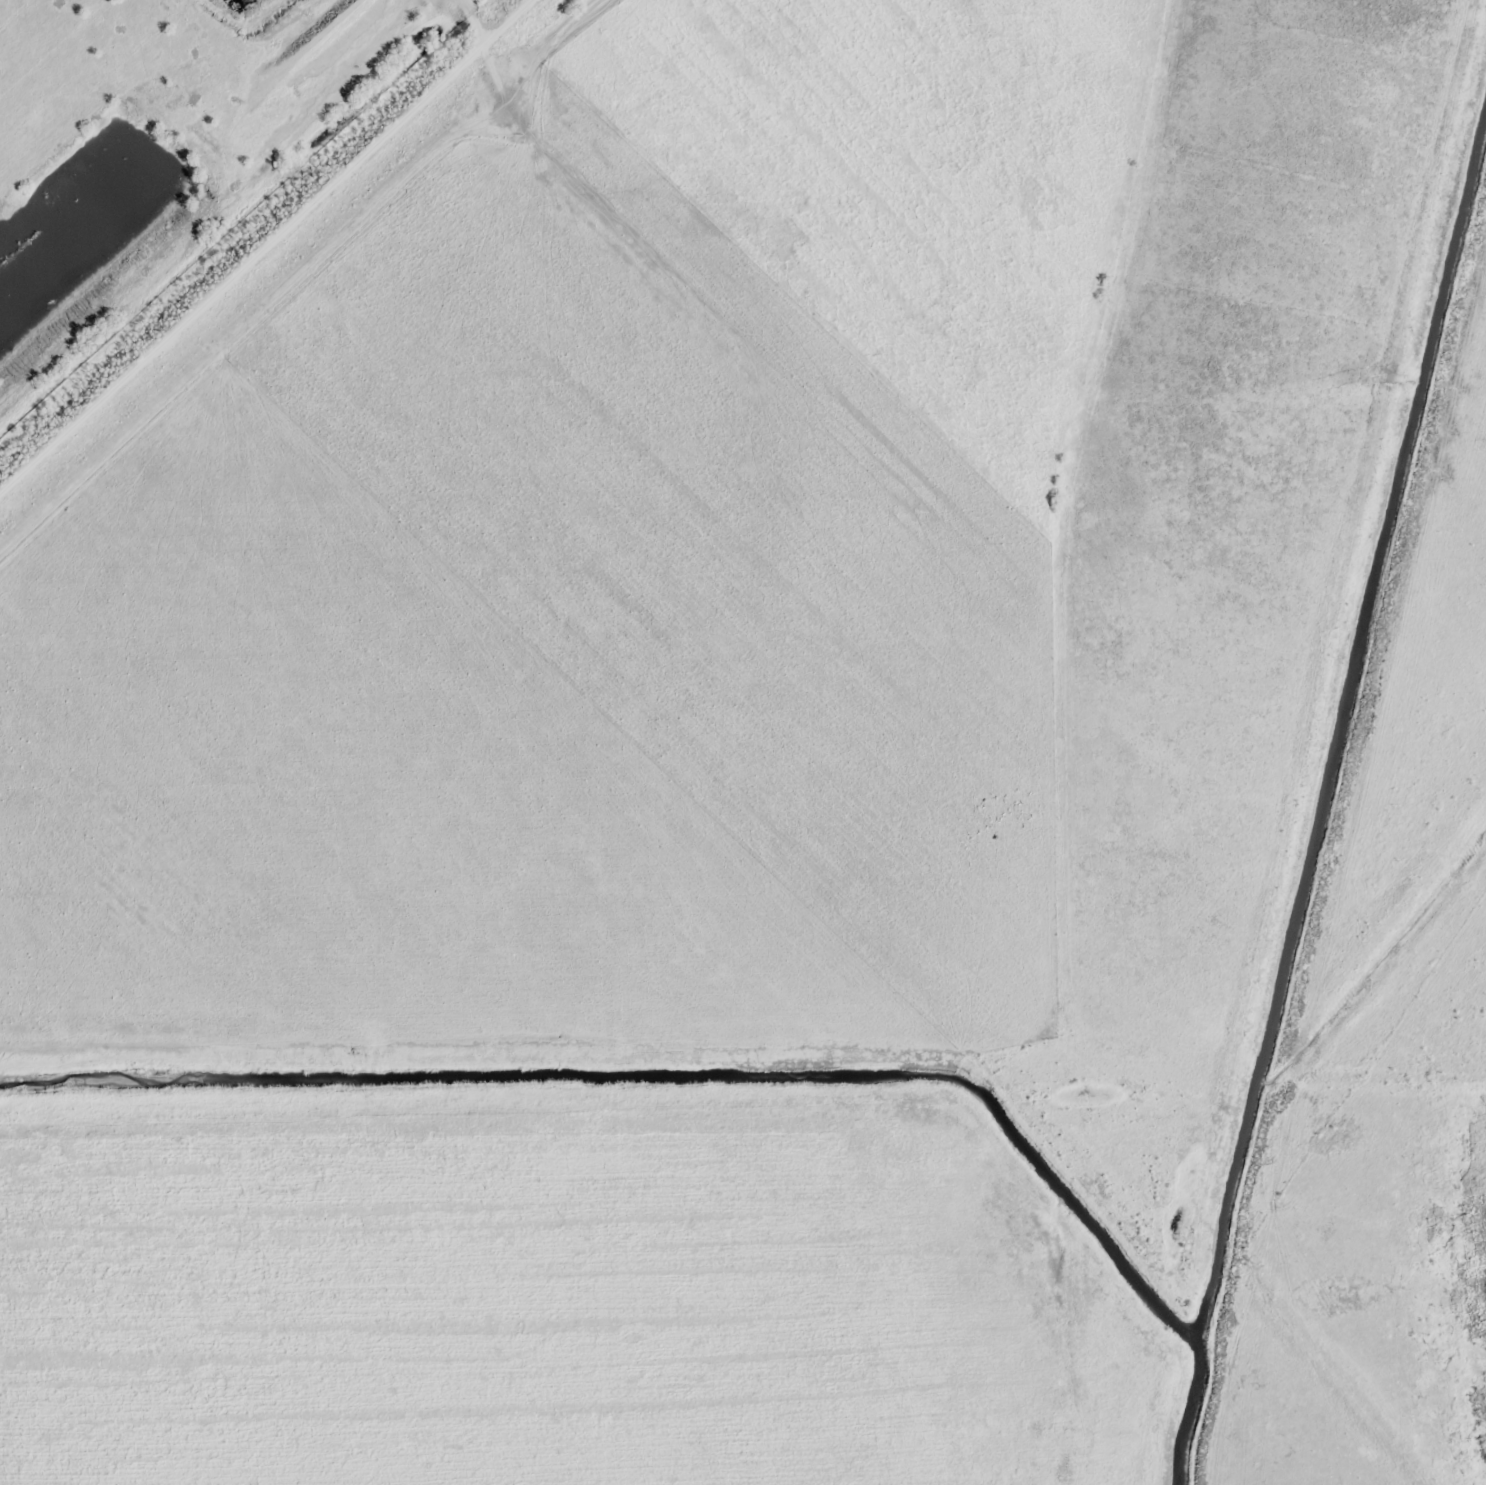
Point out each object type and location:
road: (477, 22)
road: (269, 258)

